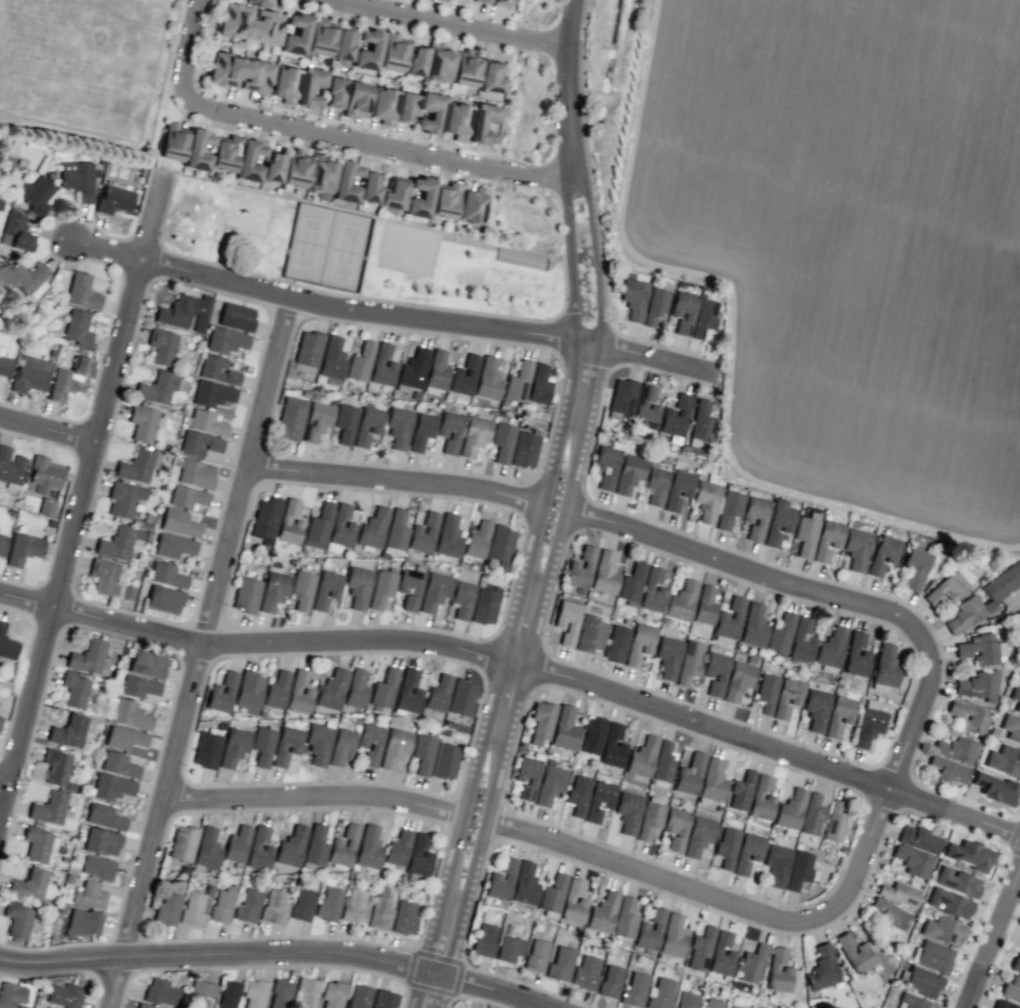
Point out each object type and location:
building: (482, 1)
building: (500, 3)
building: (249, 23)
road: (456, 24)
building: (296, 34)
building: (321, 37)
building: (343, 45)
road: (187, 48)
building: (368, 50)
building: (393, 53)
building: (417, 61)
building: (440, 62)
park: (89, 65)
building: (465, 69)
building: (239, 73)
building: (490, 78)
building: (285, 84)
building: (306, 86)
road: (569, 89)
building: (334, 92)
building: (356, 99)
building: (383, 105)
building: (406, 107)
building: (430, 112)
building: (456, 121)
building: (483, 123)
building: (172, 142)
road: (376, 148)
building: (197, 150)
building: (224, 153)
building: (248, 160)
building: (273, 166)
building: (295, 169)
building: (321, 176)
building: (77, 179)
building: (346, 181)
building: (369, 187)
building: (35, 194)
building: (393, 195)
building: (419, 197)
building: (114, 199)
building: (444, 201)
building: (471, 205)
road: (151, 214)
building: (15, 231)
park: (327, 245)
crop: (847, 245)
crop: (847, 245)
road: (107, 250)
park: (408, 250)
park: (362, 252)
road: (568, 259)
road: (597, 260)
building: (20, 276)
building: (81, 291)
building: (633, 299)
building: (655, 306)
building: (184, 311)
road: (354, 311)
building: (683, 311)
building: (236, 316)
building: (703, 318)
building: (77, 328)
building: (226, 340)
building: (161, 347)
building: (307, 351)
road: (640, 356)
building: (332, 358)
building: (360, 362)
building: (382, 365)
building: (5, 366)
building: (414, 368)
building: (218, 370)
building: (436, 372)
building: (30, 374)
building: (464, 375)
building: (70, 379)
building: (488, 379)
building: (517, 381)
building: (539, 384)
building: (157, 388)
building: (212, 394)
building: (621, 398)
building: (645, 408)
building: (675, 416)
building: (291, 418)
building: (701, 420)
building: (316, 421)
building: (205, 422)
building: (142, 423)
building: (345, 423)
building: (367, 425)
building: (398, 427)
road: (46, 431)
building: (421, 431)
building: (450, 431)
building: (474, 436)
building: (502, 441)
building: (199, 444)
building: (524, 449)
building: (138, 465)
building: (10, 466)
building: (606, 466)
building: (194, 472)
building: (629, 473)
building: (45, 474)
building: (656, 485)
building: (678, 489)
building: (187, 497)
building: (46, 506)
building: (729, 508)
building: (755, 517)
road: (609, 519)
building: (266, 520)
building: (778, 522)
building: (179, 523)
building: (289, 523)
building: (318, 526)
building: (341, 528)
building: (373, 528)
building: (396, 530)
road: (72, 531)
building: (423, 533)
building: (806, 534)
building: (448, 536)
building: (477, 539)
building: (827, 539)
building: (120, 542)
building: (2, 544)
building: (173, 546)
building: (500, 546)
building: (23, 548)
building: (856, 548)
building: (883, 554)
building: (919, 565)
building: (580, 568)
building: (604, 572)
building: (103, 575)
building: (167, 575)
building: (631, 582)
building: (951, 585)
building: (358, 587)
building: (302, 588)
building: (326, 588)
building: (382, 588)
building: (410, 588)
building: (273, 591)
building: (434, 591)
building: (652, 591)
building: (127, 593)
building: (246, 595)
building: (993, 596)
building: (164, 599)
building: (462, 599)
building: (681, 601)
building: (484, 606)
building: (704, 606)
building: (567, 621)
building: (728, 621)
building: (753, 625)
building: (590, 633)
building: (780, 634)
building: (801, 641)
building: (615, 643)
building: (639, 643)
building: (7, 644)
building: (831, 647)
building: (982, 649)
road: (196, 654)
building: (856, 655)
building: (668, 656)
building: (87, 657)
road: (503, 657)
building: (689, 661)
building: (148, 663)
road: (520, 665)
building: (886, 666)
building: (715, 672)
building: (1019, 677)
road: (523, 678)
building: (738, 680)
building: (979, 685)
building: (138, 686)
building: (74, 689)
building: (331, 689)
building: (356, 689)
building: (384, 689)
building: (276, 690)
building: (249, 691)
building: (408, 691)
building: (222, 692)
building: (766, 692)
building: (299, 693)
building: (438, 693)
building: (461, 697)
building: (787, 697)
building: (1016, 697)
building: (816, 709)
building: (129, 714)
building: (839, 715)
building: (0, 717)
building: (970, 717)
building: (541, 722)
building: (868, 724)
road: (909, 726)
building: (1011, 728)
building: (564, 729)
building: (70, 730)
building: (592, 735)
building: (124, 738)
building: (318, 743)
building: (262, 745)
building: (286, 745)
building: (369, 745)
building: (233, 746)
building: (341, 746)
building: (394, 747)
building: (612, 747)
building: (956, 749)
building: (206, 750)
building: (423, 754)
building: (642, 756)
building: (445, 761)
building: (1004, 761)
building: (663, 762)
building: (119, 765)
building: (56, 766)
building: (948, 770)
building: (689, 774)
building: (527, 776)
building: (712, 780)
building: (550, 782)
road: (2, 784)
building: (111, 787)
building: (995, 788)
building: (741, 791)
building: (578, 795)
road: (310, 799)
building: (599, 799)
building: (761, 799)
building: (49, 808)
building: (791, 809)
building: (628, 811)
building: (812, 815)
building: (104, 816)
building: (649, 820)
building: (834, 822)
building: (676, 828)
building: (698, 836)
building: (919, 839)
building: (102, 841)
building: (37, 843)
building: (183, 843)
building: (316, 845)
building: (237, 846)
building: (291, 846)
building: (344, 846)
building: (369, 847)
building: (726, 847)
building: (207, 848)
building: (398, 848)
building: (259, 849)
building: (747, 853)
building: (968, 854)
building: (419, 856)
building: (913, 861)
building: (777, 864)
building: (97, 867)
building: (799, 869)
building: (501, 880)
building: (957, 881)
building: (524, 883)
building: (29, 885)
building: (553, 893)
building: (898, 893)
building: (90, 895)
road: (723, 897)
building: (573, 902)
building: (949, 903)
building: (222, 904)
building: (303, 904)
building: (329, 904)
building: (248, 905)
building: (355, 906)
building: (274, 907)
building: (380, 907)
building: (167, 908)
building: (193, 909)
building: (603, 912)
building: (889, 914)
building: (404, 918)
building: (624, 918)
building: (17, 920)
building: (84, 922)
building: (650, 930)
building: (943, 930)
building: (673, 936)
road: (991, 936)
building: (484, 940)
building: (509, 948)
building: (700, 949)
road: (211, 954)
building: (855, 954)
building: (536, 955)
building: (721, 955)
building: (933, 956)
building: (560, 963)
building: (1016, 963)
building: (750, 964)
building: (822, 968)
building: (778, 971)
building: (585, 972)
building: (610, 981)
building: (922, 982)
road: (486, 986)
road: (415, 989)
building: (1011, 989)
building: (634, 990)
building: (160, 992)
building: (201, 993)
building: (254, 993)
building: (305, 993)
building: (661, 993)
building: (11, 994)
building: (228, 994)
building: (280, 994)
building: (333, 994)
building: (64, 995)
building: (359, 996)
road: (453, 998)
building: (384, 999)
road: (485, 1000)
building: (686, 1000)
building: (911, 1002)
building: (712, 1003)
building: (1003, 1004)
building: (144, 1006)
building: (45, 1007)
building: (733, 1007)

